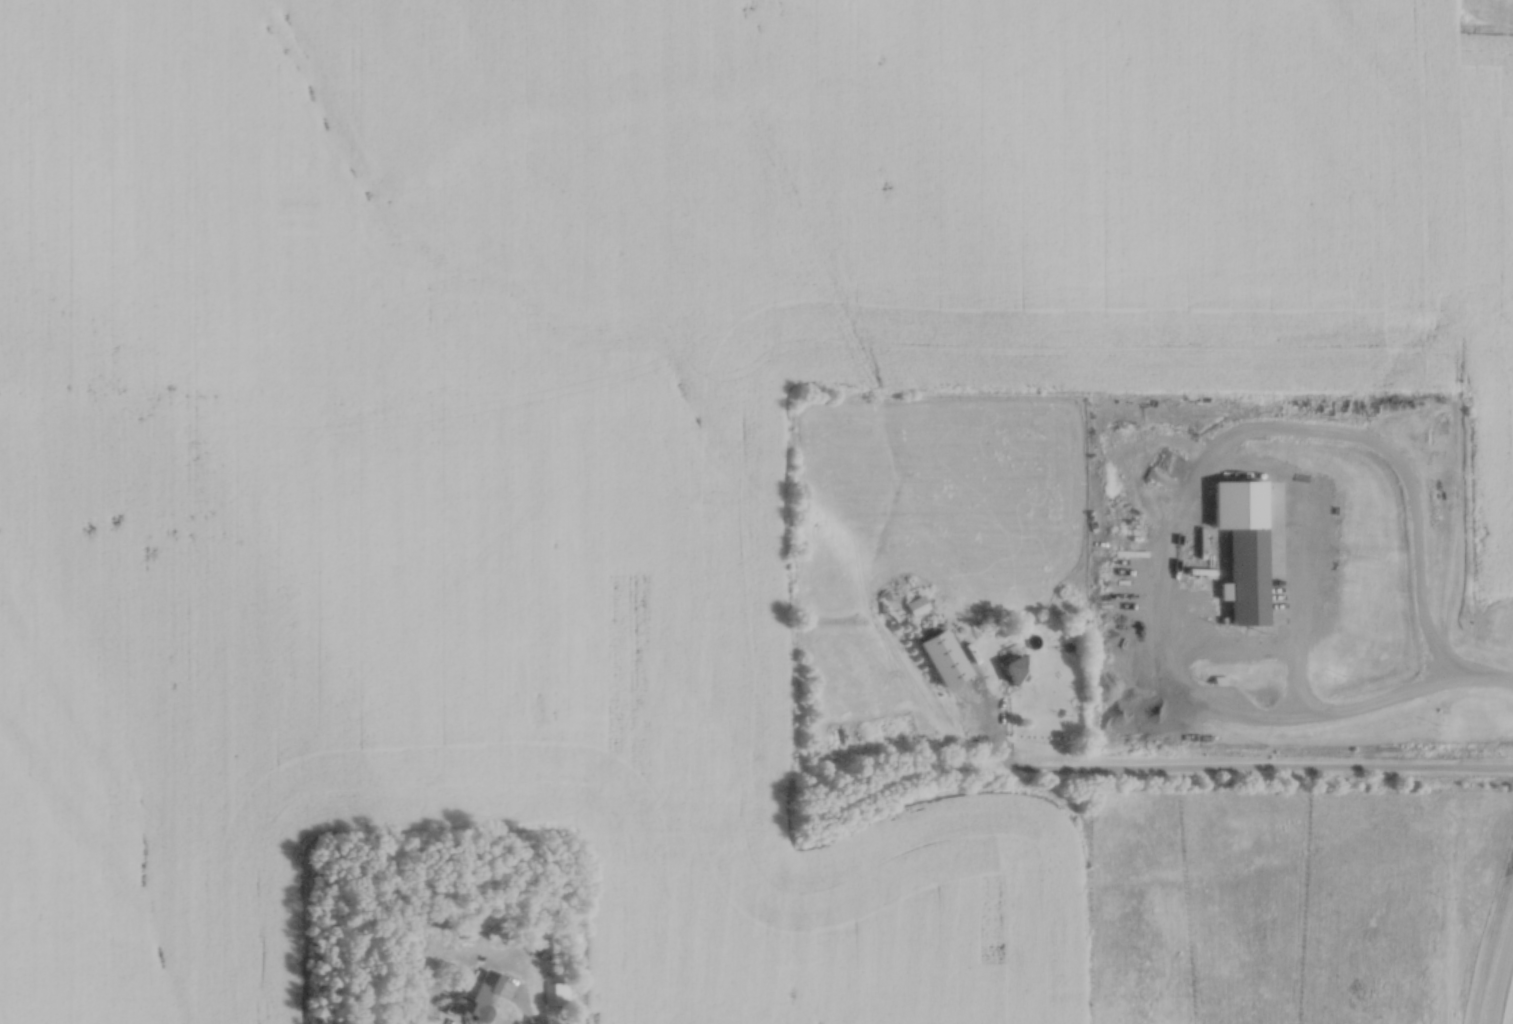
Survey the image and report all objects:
road: (1178, 507)
building: (1247, 572)
building: (949, 664)
building: (1017, 664)
road: (1491, 678)
road: (1255, 769)
road: (1499, 979)
building: (555, 989)
building: (476, 991)
road: (529, 1009)

